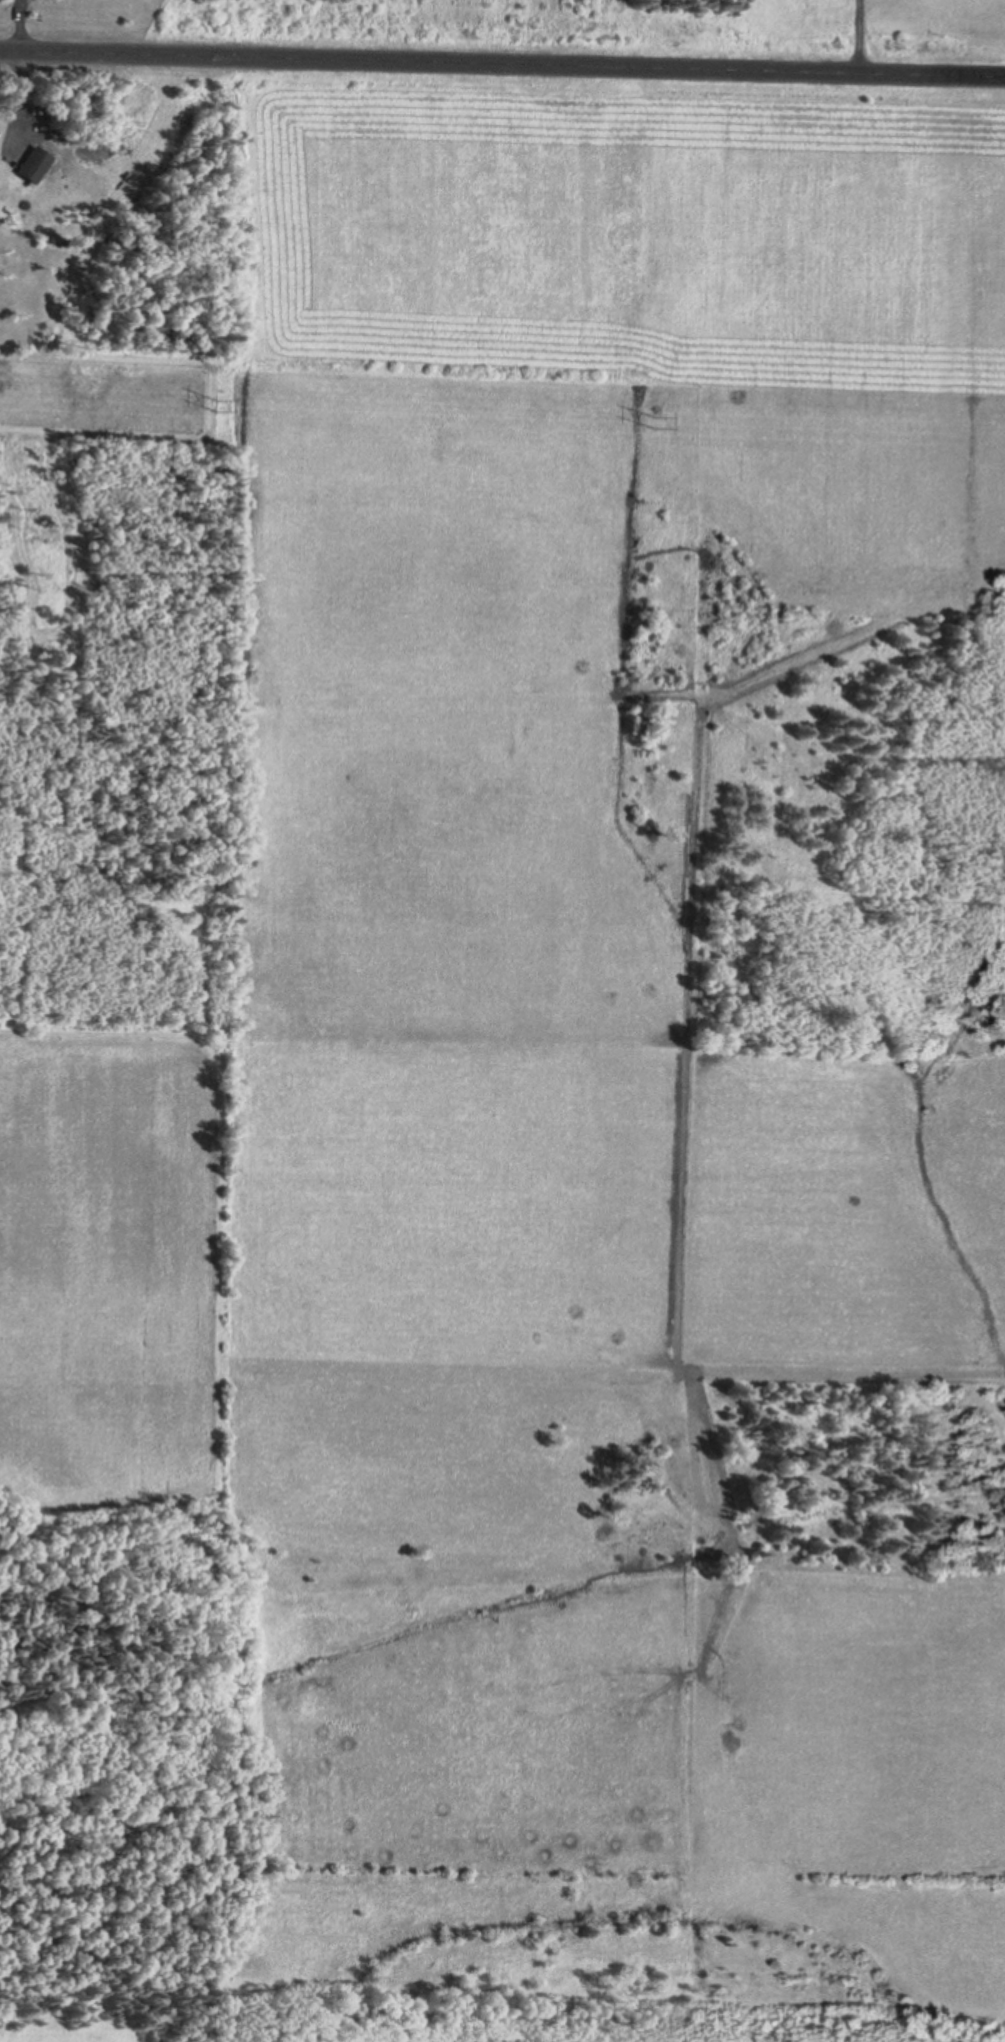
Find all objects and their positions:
road: (502, 77)
building: (136, 99)
building: (37, 164)
power tower: (211, 404)
power tower: (649, 420)

